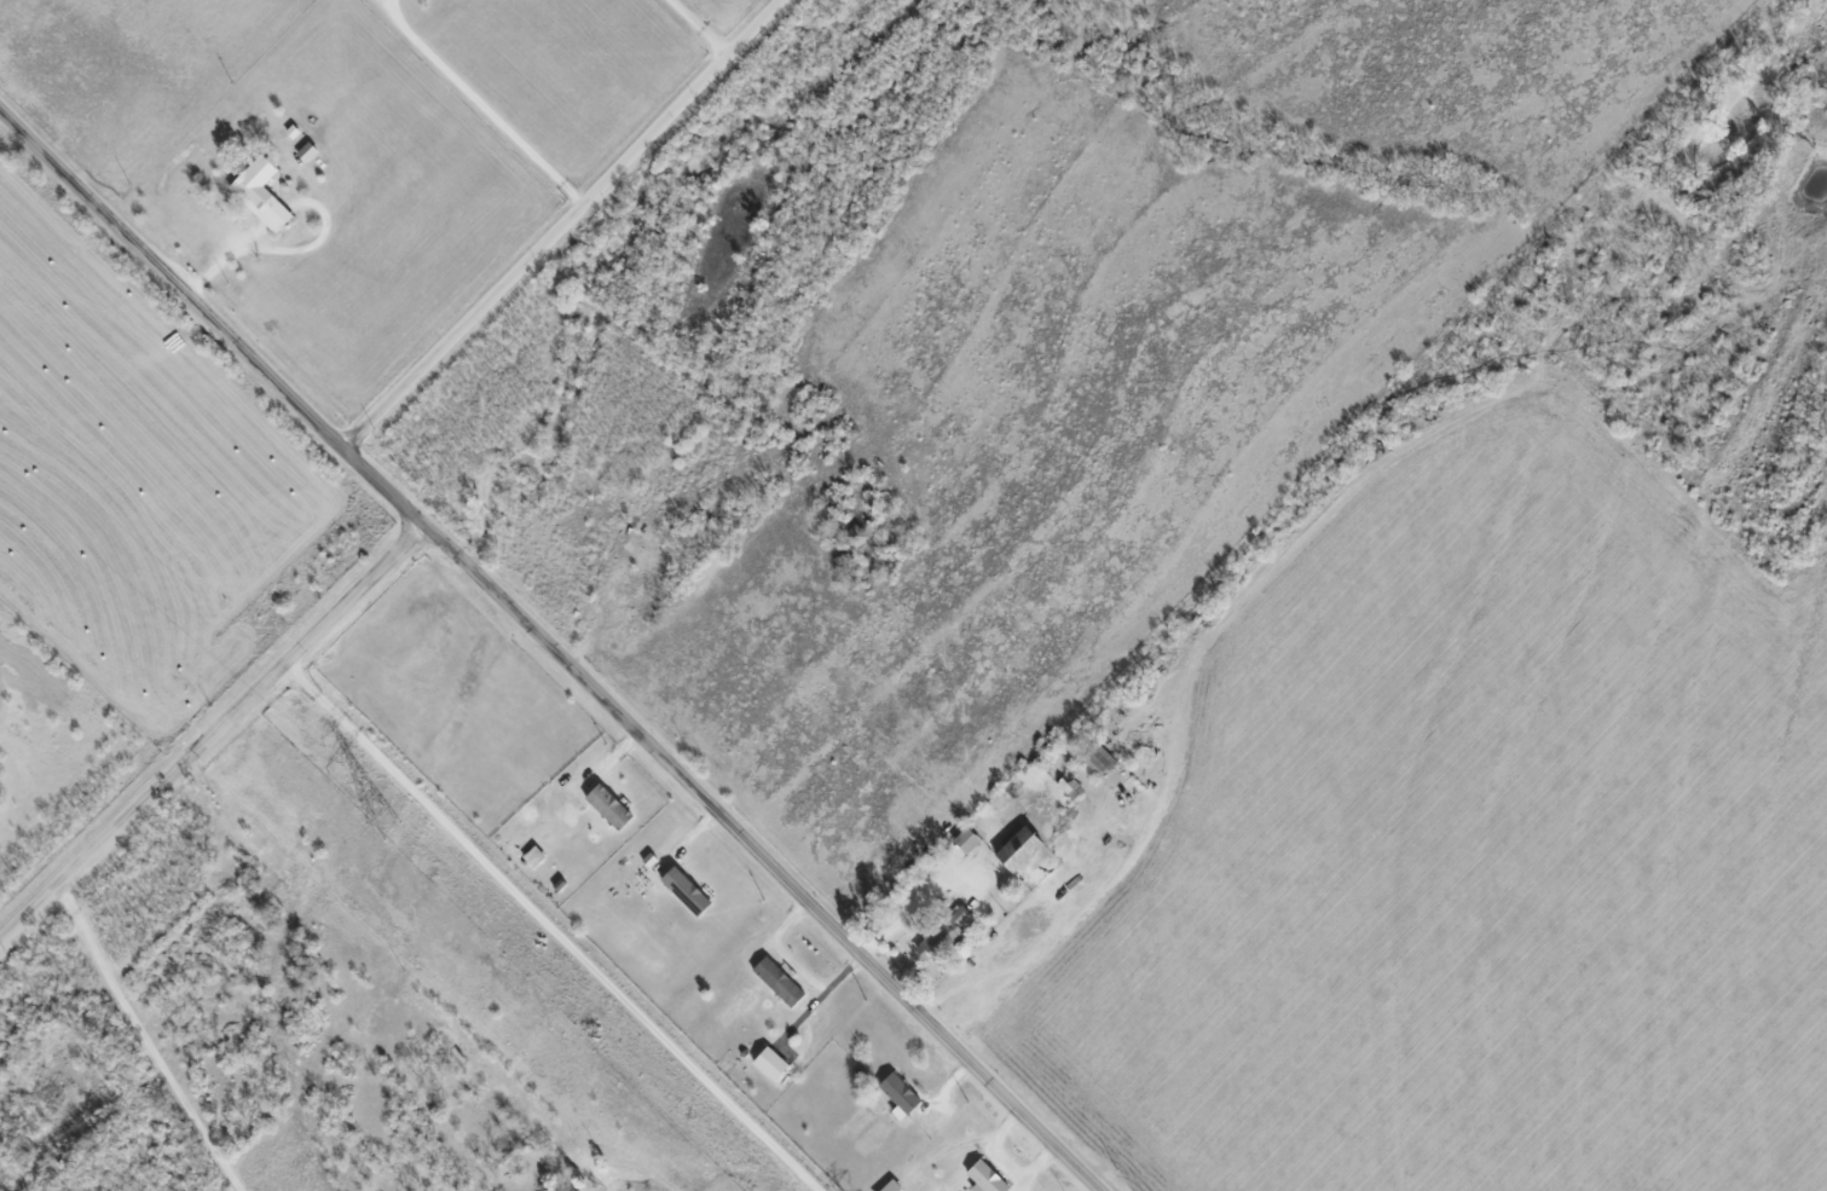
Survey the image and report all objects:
road: (693, 30)
road: (480, 104)
building: (258, 195)
road: (562, 224)
road: (249, 238)
road: (277, 249)
road: (551, 648)
road: (212, 735)
building: (1095, 759)
building: (1066, 787)
building: (606, 805)
power tower: (382, 823)
building: (964, 839)
building: (1014, 848)
building: (682, 890)
road: (907, 912)
road: (549, 926)
building: (941, 935)
building: (776, 981)
road: (143, 1041)
building: (767, 1063)
building: (896, 1094)
building: (983, 1178)

